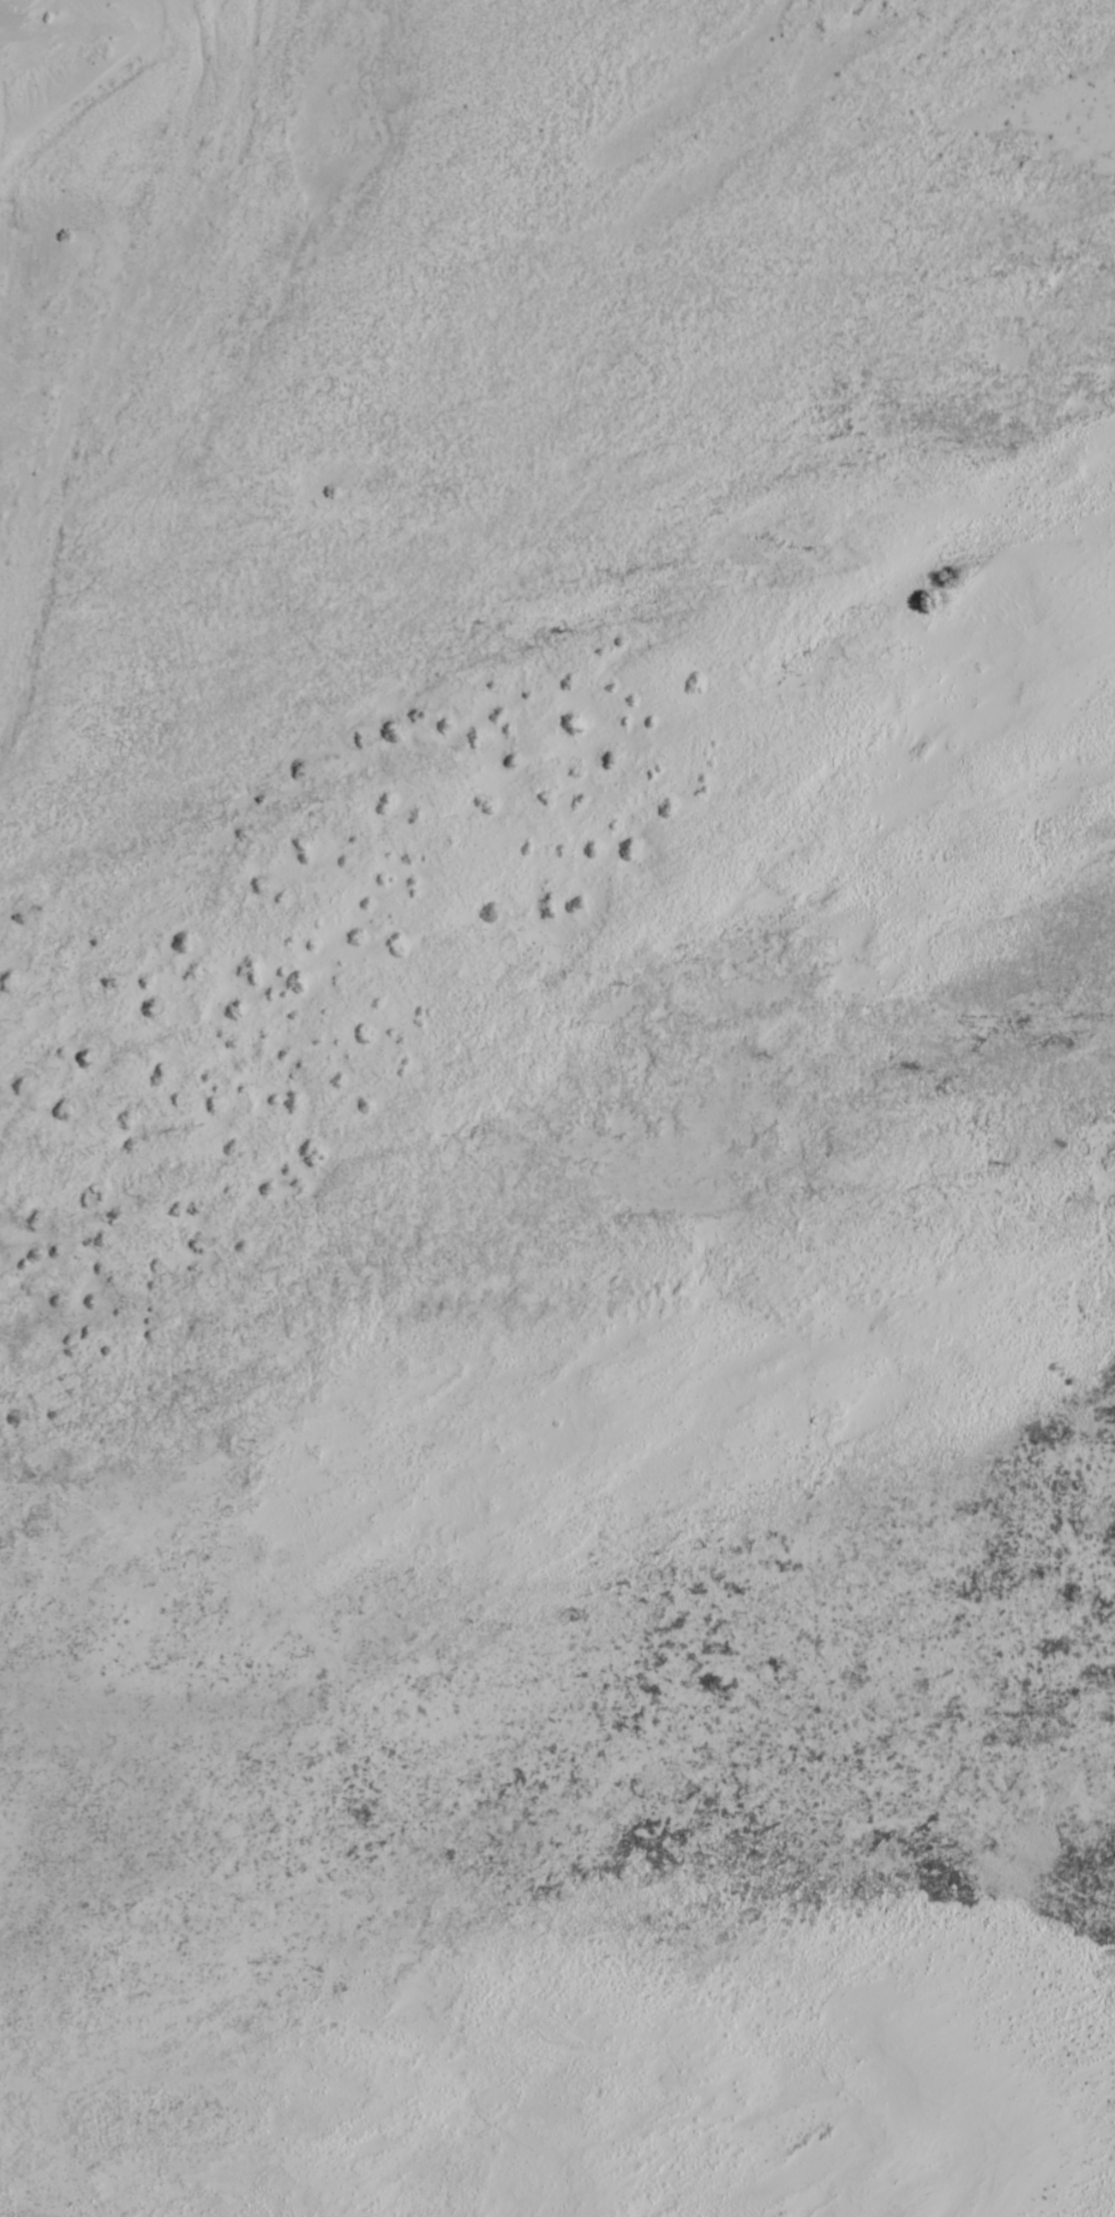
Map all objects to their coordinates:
river: (2, 1)

